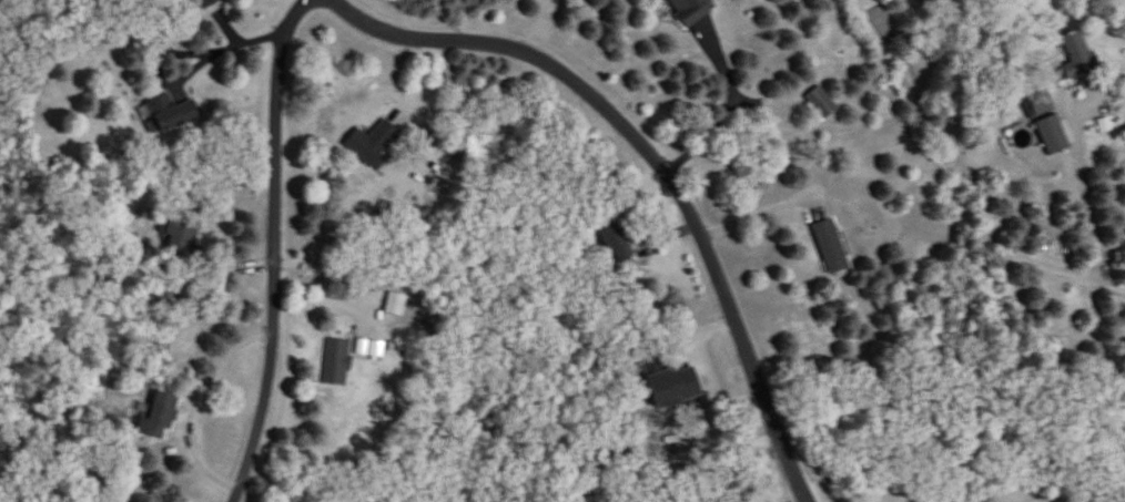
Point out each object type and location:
building: (209, 4)
building: (690, 10)
road: (229, 44)
building: (1077, 53)
road: (1112, 80)
building: (821, 102)
road: (734, 109)
building: (166, 112)
building: (1053, 134)
building: (374, 143)
road: (655, 162)
road: (762, 208)
building: (183, 238)
building: (618, 242)
road: (274, 245)
building: (831, 246)
road: (1057, 266)
road: (1106, 277)
building: (336, 361)
road: (197, 404)
building: (158, 417)

